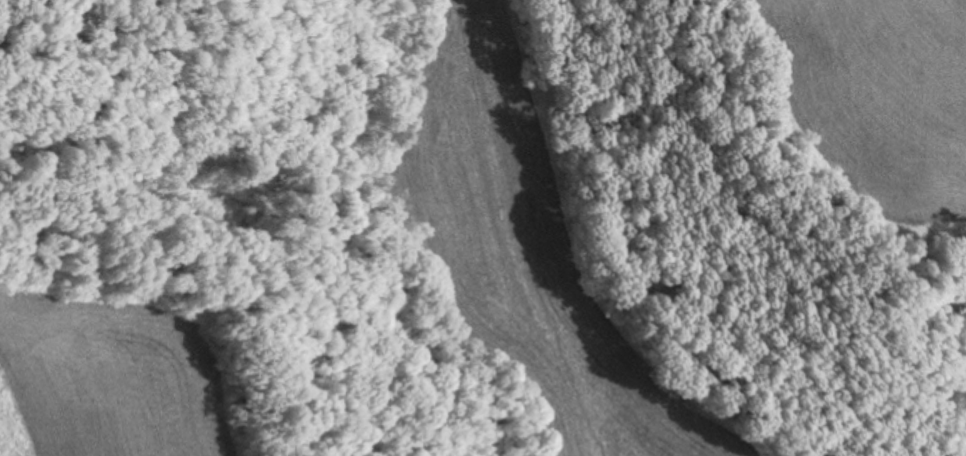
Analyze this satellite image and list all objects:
crop: (880, 108)
crop: (529, 251)
crop: (99, 377)

